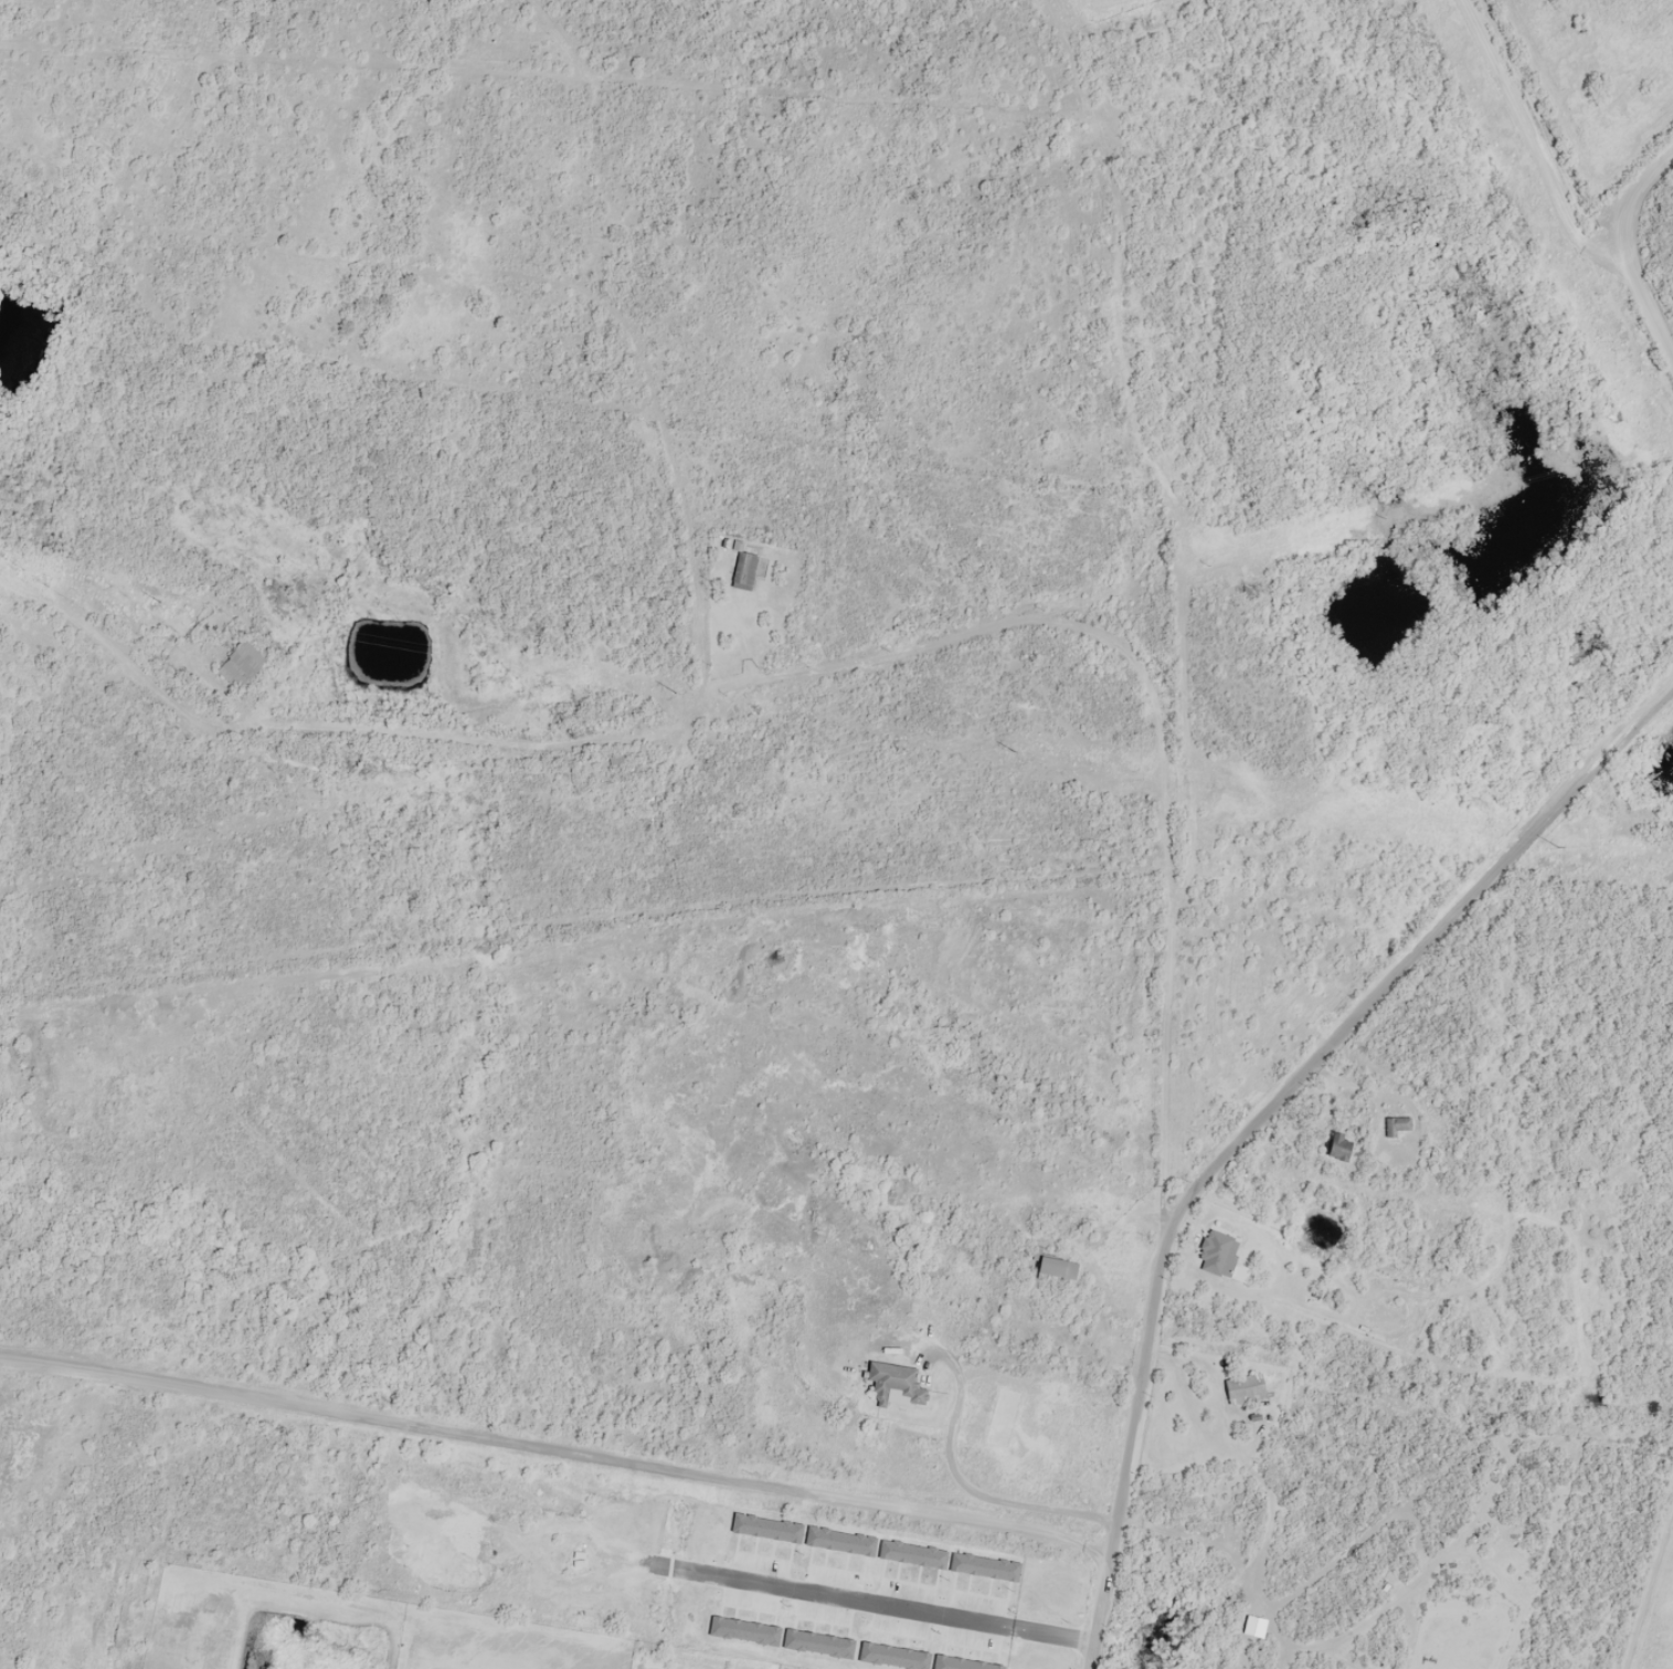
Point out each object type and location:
road: (1671, 254)
road: (506, 266)
building: (742, 570)
road: (1121, 613)
road: (552, 720)
road: (1404, 916)
building: (1396, 1124)
building: (1338, 1144)
building: (1056, 1269)
building: (893, 1384)
building: (1245, 1387)
road: (1124, 1453)
building: (1386, 1581)
building: (1213, 1661)

